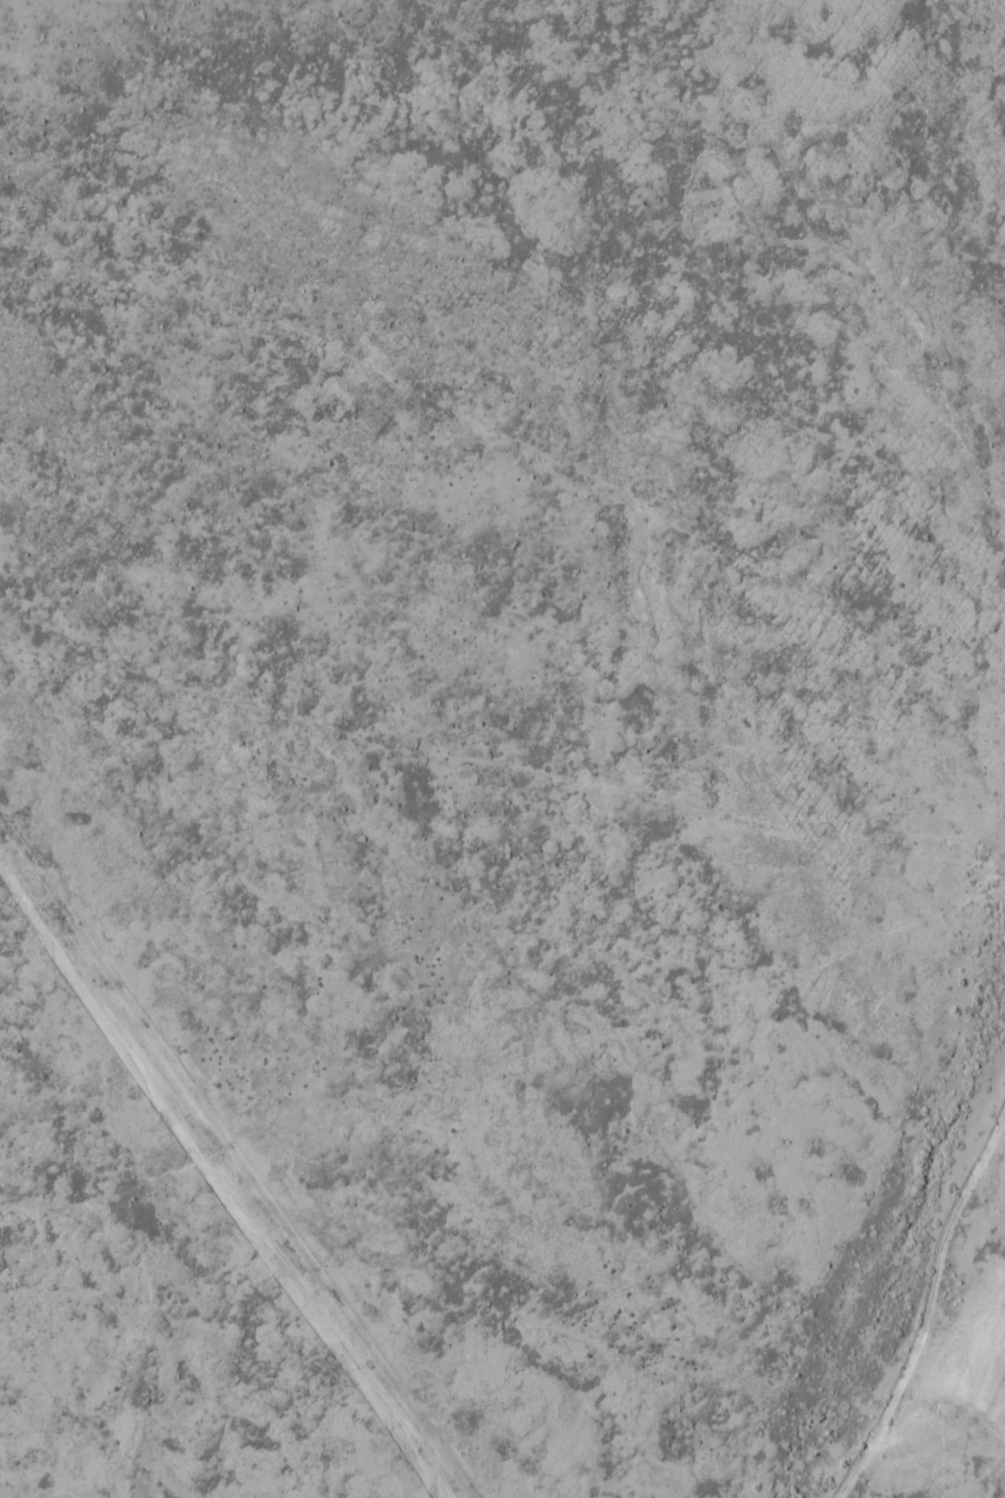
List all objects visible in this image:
road: (221, 1175)
road: (931, 1307)

